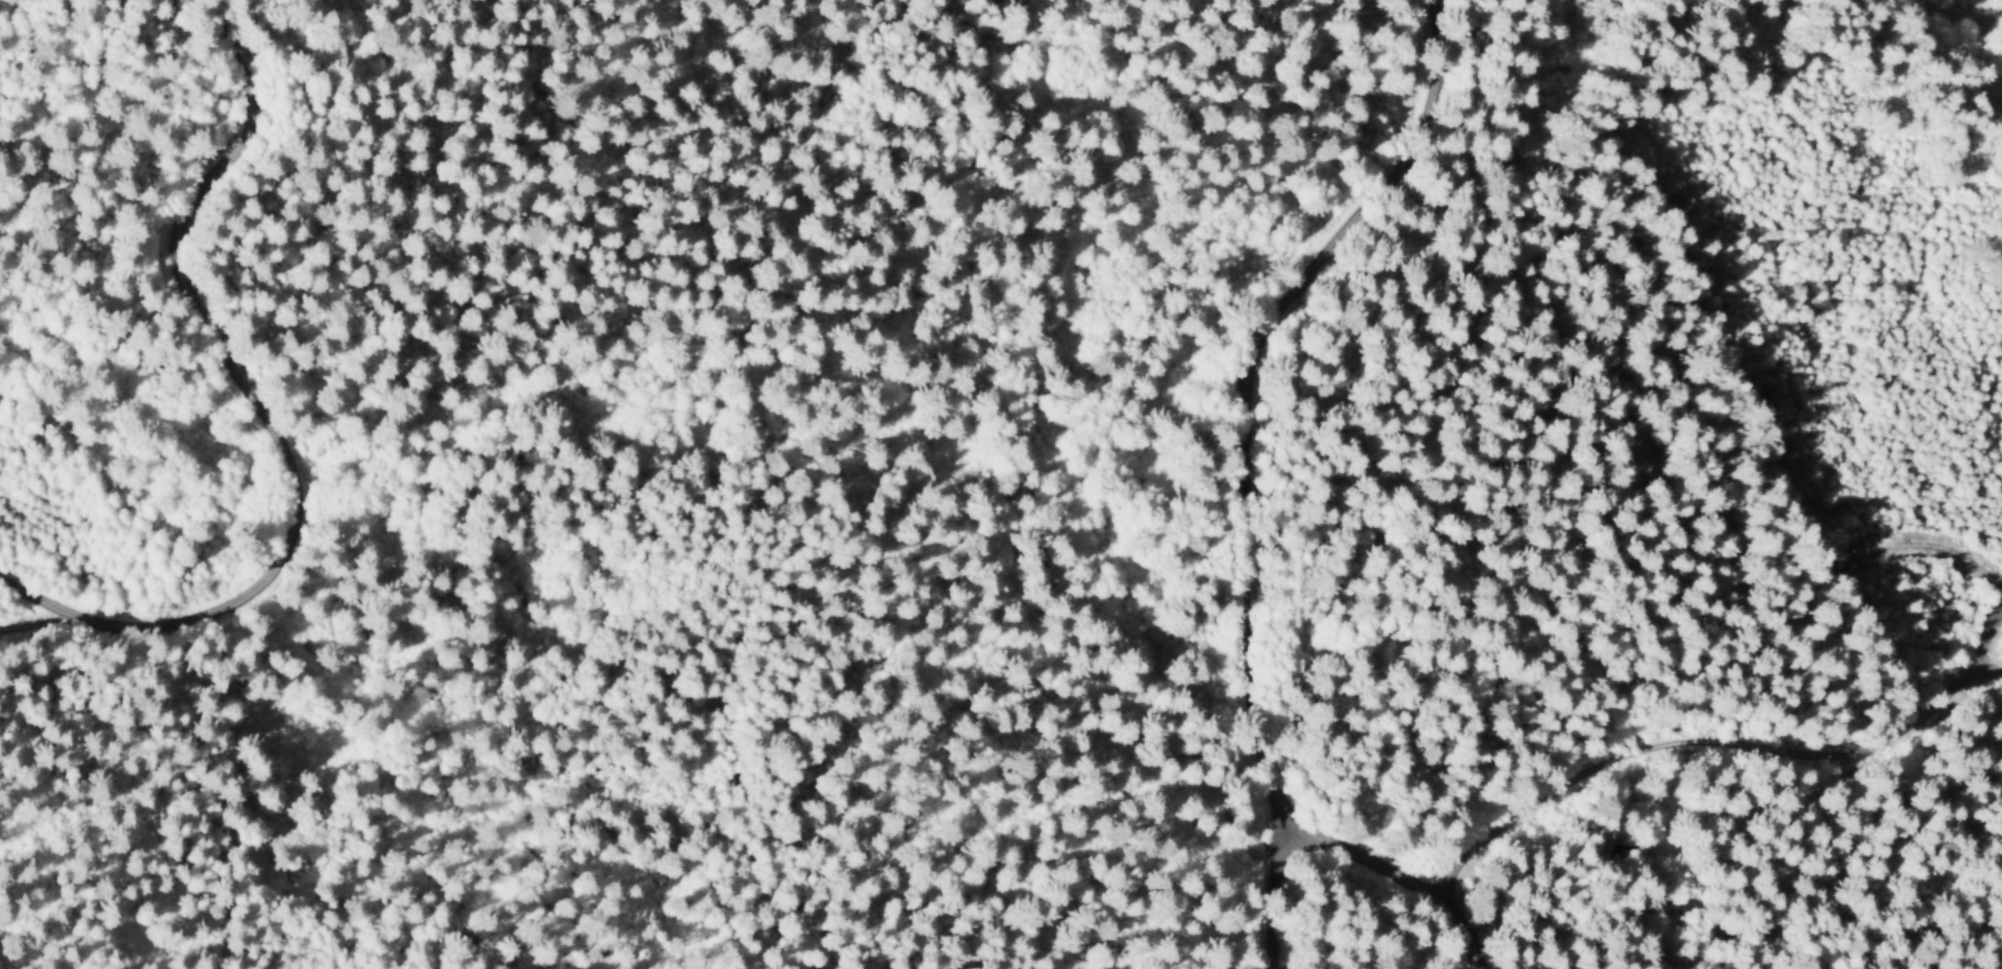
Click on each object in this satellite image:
road: (1257, 382)
road: (262, 416)
road: (1930, 543)
road: (1983, 651)
road: (1704, 743)
road: (1393, 877)
road: (1285, 896)

